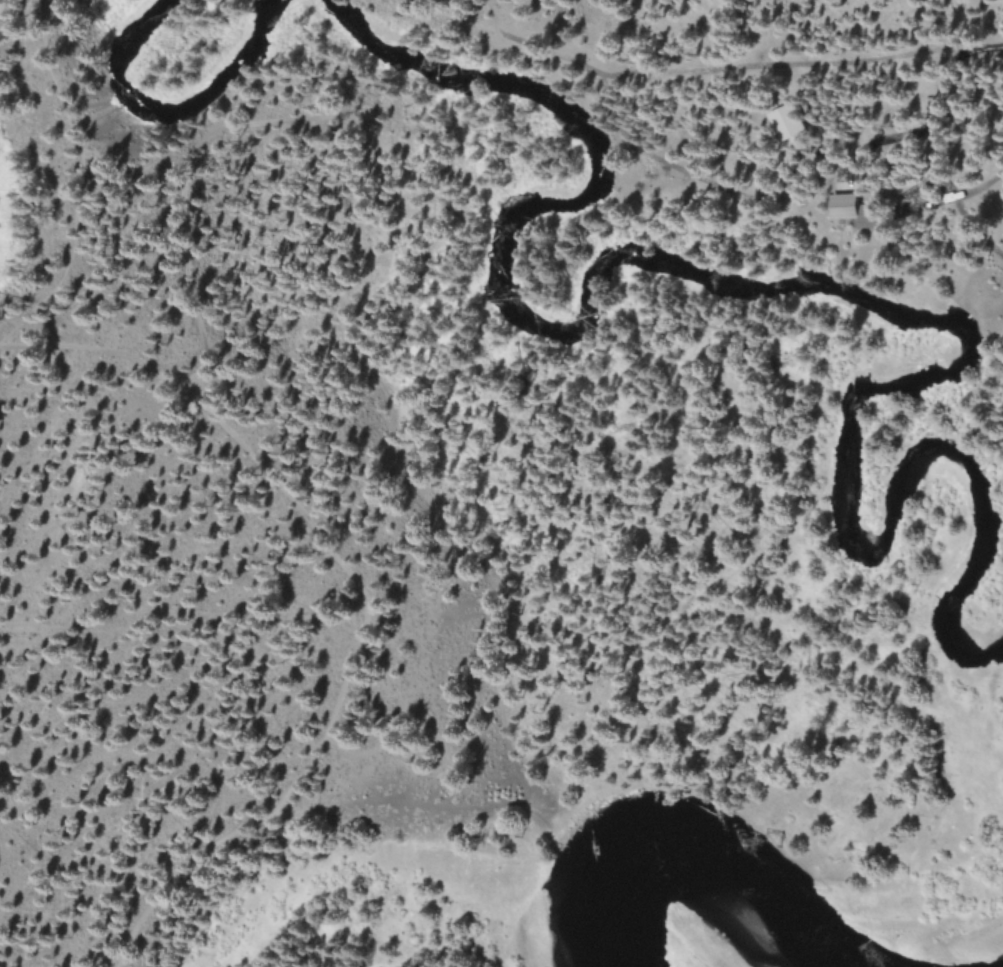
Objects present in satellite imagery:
road: (946, 68)
road: (78, 180)
building: (847, 206)
river: (591, 288)
road: (396, 440)
road: (336, 558)
river: (676, 849)

